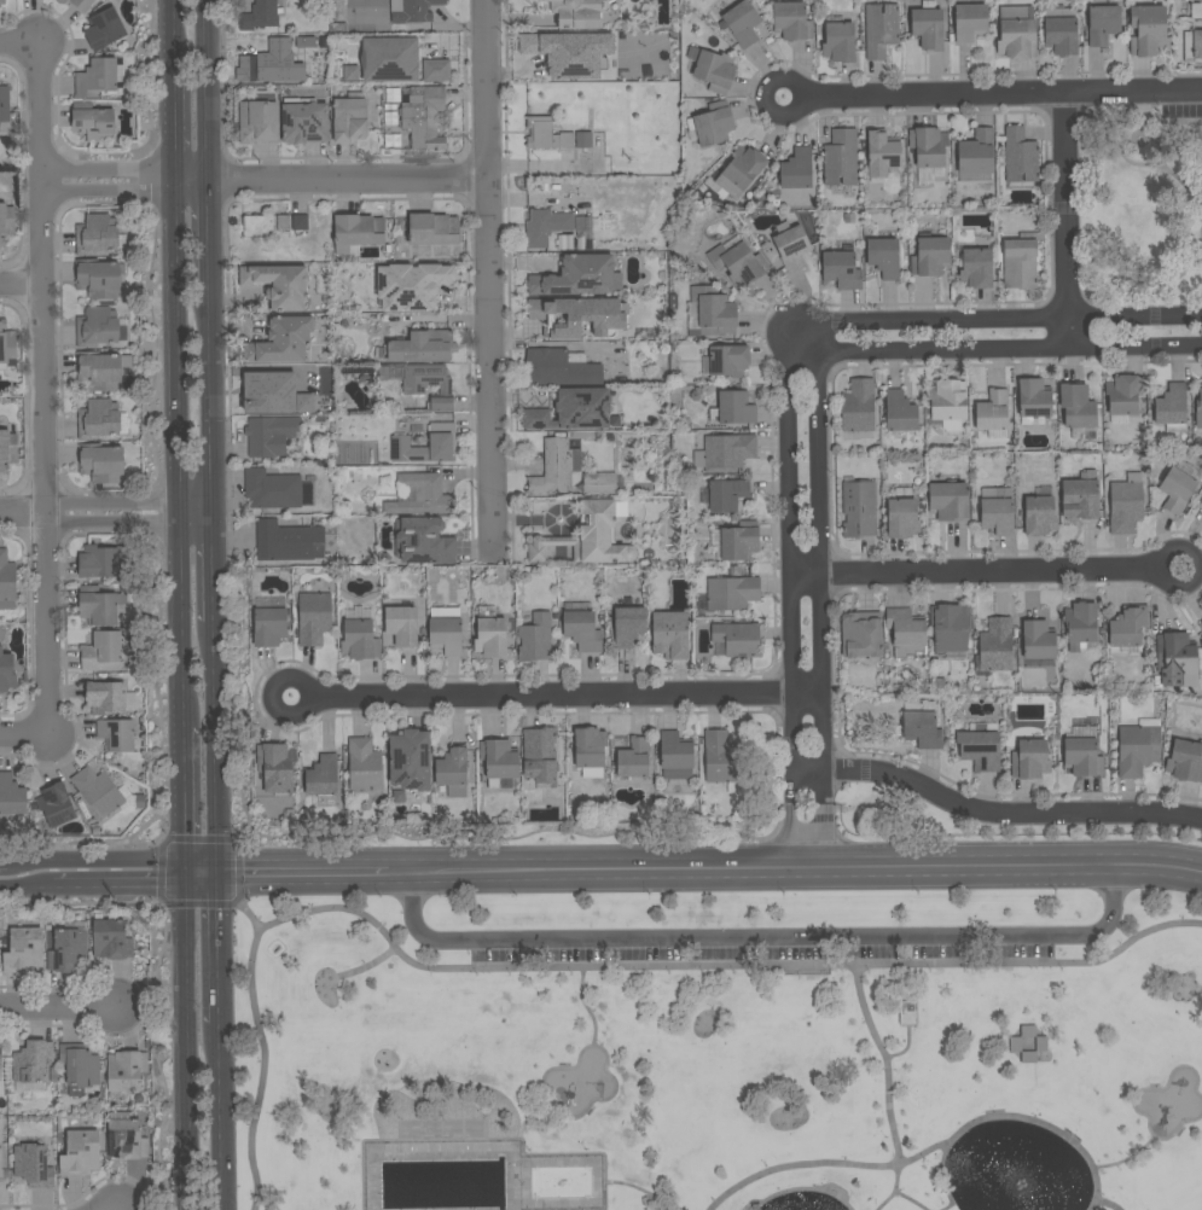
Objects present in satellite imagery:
building: (2, 1)
building: (82, 5)
building: (1196, 8)
building: (413, 12)
building: (579, 12)
building: (260, 16)
building: (791, 21)
building: (970, 22)
building: (742, 23)
building: (1103, 24)
building: (928, 28)
building: (104, 29)
building: (881, 29)
building: (1015, 34)
building: (1061, 35)
building: (1150, 36)
road: (173, 37)
building: (309, 39)
building: (840, 41)
road: (19, 42)
building: (262, 46)
building: (1197, 46)
building: (569, 52)
building: (390, 59)
building: (436, 70)
building: (715, 70)
building: (255, 71)
building: (352, 72)
building: (97, 77)
road: (209, 91)
building: (393, 94)
road: (999, 95)
road: (797, 101)
building: (5, 104)
building: (423, 117)
building: (259, 118)
building: (349, 120)
building: (94, 122)
building: (303, 123)
building: (714, 123)
road: (175, 127)
building: (546, 133)
building: (583, 139)
building: (928, 146)
building: (979, 150)
building: (882, 153)
building: (1020, 156)
building: (841, 158)
building: (744, 167)
building: (797, 169)
road: (109, 171)
road: (331, 180)
road: (109, 192)
park: (1139, 209)
building: (6, 222)
building: (300, 222)
road: (1067, 222)
building: (259, 226)
building: (547, 227)
building: (434, 229)
building: (358, 232)
road: (211, 233)
building: (98, 234)
building: (791, 245)
building: (931, 256)
building: (884, 257)
building: (739, 262)
building: (1020, 263)
building: (976, 268)
building: (842, 269)
building: (576, 277)
road: (41, 278)
building: (98, 278)
road: (488, 280)
road: (21, 285)
building: (279, 285)
building: (411, 286)
building: (713, 313)
building: (580, 316)
road: (997, 320)
building: (97, 327)
building: (283, 341)
road: (178, 343)
building: (6, 345)
building: (423, 347)
road: (994, 353)
building: (728, 360)
building: (561, 367)
building: (99, 371)
building: (309, 377)
building: (268, 382)
building: (424, 383)
road: (214, 394)
building: (1125, 394)
building: (947, 400)
building: (1034, 401)
building: (858, 406)
building: (736, 408)
building: (1078, 408)
building: (1172, 408)
building: (573, 411)
building: (993, 411)
building: (1198, 411)
building: (900, 412)
building: (99, 419)
building: (271, 435)
building: (442, 443)
building: (7, 449)
building: (725, 453)
building: (101, 463)
building: (553, 469)
building: (599, 483)
building: (272, 489)
building: (1177, 489)
building: (727, 494)
building: (422, 495)
building: (1080, 498)
building: (948, 501)
building: (1201, 501)
road: (110, 502)
road: (198, 504)
building: (1126, 504)
building: (859, 507)
road: (216, 512)
building: (998, 512)
road: (180, 513)
road: (22, 514)
building: (1039, 516)
building: (902, 518)
road: (111, 522)
road: (198, 522)
building: (587, 537)
building: (288, 541)
building: (423, 541)
building: (739, 541)
road: (819, 547)
road: (789, 551)
building: (100, 560)
road: (1195, 569)
road: (216, 571)
road: (972, 572)
building: (7, 582)
building: (732, 593)
building: (98, 606)
building: (314, 617)
road: (181, 624)
building: (628, 624)
building: (1081, 624)
road: (45, 626)
building: (269, 626)
building: (402, 626)
building: (1128, 626)
building: (1201, 626)
building: (950, 627)
building: (582, 630)
building: (906, 632)
building: (447, 633)
building: (490, 634)
building: (861, 634)
building: (535, 638)
building: (673, 639)
building: (738, 639)
building: (360, 640)
building: (1038, 640)
building: (995, 646)
building: (101, 652)
building: (1175, 661)
building: (6, 671)
building: (105, 697)
road: (568, 698)
road: (266, 700)
building: (923, 729)
building: (116, 734)
road: (23, 737)
road: (217, 745)
building: (590, 747)
building: (1138, 747)
building: (980, 750)
building: (675, 754)
building: (540, 755)
building: (1084, 757)
building: (634, 758)
building: (721, 760)
building: (1030, 760)
building: (410, 761)
building: (499, 761)
building: (1185, 761)
building: (364, 764)
building: (275, 767)
building: (452, 767)
road: (808, 772)
building: (323, 776)
road: (824, 787)
road: (794, 789)
road: (182, 791)
building: (103, 792)
building: (11, 796)
building: (56, 804)
road: (1009, 810)
road: (794, 837)
road: (824, 837)
road: (95, 857)
road: (4, 859)
road: (201, 863)
road: (184, 869)
road: (795, 869)
road: (303, 873)
road: (201, 877)
road: (123, 883)
road: (31, 884)
road: (237, 900)
building: (111, 940)
road: (763, 940)
parking lot: (756, 944)
road: (217, 947)
building: (24, 950)
building: (68, 950)
road: (366, 968)
road: (579, 970)
road: (583, 994)
road: (58, 1008)
building: (907, 1013)
building: (1028, 1030)
building: (1041, 1043)
building: (1015, 1045)
road: (186, 1046)
road: (905, 1047)
park: (720, 1051)
building: (1028, 1057)
building: (0, 1061)
building: (33, 1061)
road: (884, 1064)
building: (80, 1068)
building: (126, 1070)
road: (219, 1116)
road: (1012, 1116)
building: (126, 1138)
building: (80, 1152)
road: (1128, 1157)
building: (0, 1163)
road: (824, 1163)
building: (33, 1165)
fountain: (1020, 1183)
road: (805, 1189)
road: (648, 1193)
road: (901, 1196)
road: (1108, 1204)

